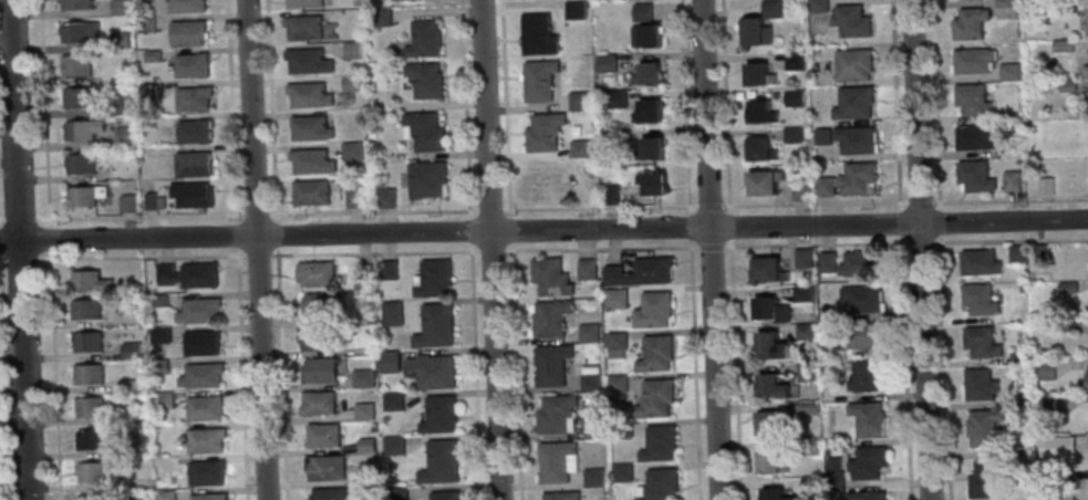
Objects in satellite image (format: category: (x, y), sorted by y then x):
building: (404, 0)
building: (302, 3)
building: (1001, 3)
building: (74, 4)
building: (186, 6)
building: (117, 7)
building: (818, 8)
building: (572, 10)
building: (771, 11)
building: (640, 12)
building: (379, 18)
building: (1086, 21)
building: (145, 23)
building: (851, 23)
building: (967, 23)
building: (305, 29)
building: (77, 31)
building: (186, 33)
building: (536, 35)
building: (644, 37)
building: (756, 38)
building: (120, 40)
building: (423, 40)
building: (1061, 46)
building: (351, 50)
building: (151, 55)
building: (307, 61)
building: (970, 61)
building: (794, 62)
building: (604, 63)
building: (76, 64)
building: (190, 65)
building: (854, 69)
building: (1007, 72)
building: (1085, 72)
building: (645, 74)
building: (759, 80)
building: (424, 81)
building: (537, 81)
building: (351, 83)
building: (1066, 85)
building: (147, 92)
building: (308, 95)
building: (76, 97)
building: (191, 98)
building: (615, 98)
building: (796, 100)
building: (971, 100)
building: (578, 101)
building: (120, 104)
road: (893, 104)
road: (933, 104)
road: (684, 106)
road: (725, 106)
building: (853, 107)
road: (229, 110)
road: (270, 110)
building: (645, 112)
building: (763, 117)
building: (309, 128)
building: (82, 129)
building: (422, 131)
building: (193, 132)
building: (542, 133)
building: (610, 136)
building: (123, 137)
building: (365, 137)
building: (796, 137)
building: (973, 137)
building: (823, 139)
building: (857, 143)
building: (579, 148)
building: (649, 149)
building: (351, 150)
building: (761, 156)
building: (310, 162)
building: (80, 164)
building: (191, 165)
building: (973, 176)
building: (425, 179)
building: (547, 179)
building: (1011, 181)
building: (650, 184)
building: (850, 185)
building: (584, 186)
building: (1045, 186)
building: (767, 189)
building: (309, 192)
building: (609, 194)
building: (801, 194)
building: (84, 195)
building: (191, 195)
building: (353, 197)
building: (385, 198)
road: (1009, 199)
building: (148, 200)
road: (919, 201)
road: (814, 202)
building: (126, 204)
road: (708, 205)
road: (483, 209)
road: (134, 216)
road: (937, 221)
road: (898, 222)
road: (688, 225)
road: (728, 225)
road: (543, 230)
road: (234, 233)
road: (276, 233)
road: (1009, 239)
road: (921, 242)
road: (815, 243)
road: (709, 246)
road: (18, 249)
road: (51, 249)
road: (255, 249)
road: (469, 249)
road: (489, 249)
road: (511, 249)
road: (709, 249)
road: (920, 249)
road: (484, 250)
building: (1040, 252)
building: (1017, 253)
road: (257, 254)
road: (121, 257)
building: (802, 258)
building: (827, 261)
building: (980, 261)
building: (860, 263)
building: (584, 270)
building: (768, 270)
building: (386, 271)
building: (639, 272)
building: (162, 274)
building: (200, 274)
building: (314, 274)
building: (548, 278)
building: (360, 279)
building: (435, 279)
building: (87, 282)
building: (1067, 287)
building: (801, 294)
building: (615, 299)
building: (862, 299)
building: (980, 299)
building: (156, 300)
building: (318, 306)
building: (766, 306)
building: (201, 309)
building: (653, 310)
building: (85, 311)
building: (390, 313)
building: (549, 319)
building: (1067, 325)
building: (436, 326)
building: (805, 331)
building: (587, 333)
building: (158, 334)
building: (863, 335)
building: (315, 337)
building: (616, 341)
building: (981, 341)
building: (87, 342)
building: (203, 342)
building: (770, 344)
building: (131, 351)
building: (615, 353)
building: (655, 353)
building: (1017, 357)
building: (390, 363)
building: (551, 364)
building: (158, 366)
road: (903, 366)
road: (943, 366)
road: (695, 368)
road: (734, 368)
building: (590, 369)
building: (1047, 369)
building: (318, 371)
building: (433, 371)
building: (805, 371)
road: (240, 373)
building: (89, 374)
building: (205, 374)
road: (281, 374)
building: (866, 374)
building: (361, 378)
building: (1087, 381)
building: (590, 382)
building: (618, 382)
building: (771, 384)
building: (980, 384)
building: (125, 385)
building: (655, 398)
building: (160, 399)
building: (1019, 402)
building: (391, 403)
building: (315, 404)
building: (1046, 405)
building: (90, 406)
building: (806, 406)
building: (206, 407)
building: (362, 412)
building: (441, 414)
building: (557, 414)
building: (868, 418)
building: (770, 423)
building: (984, 426)
building: (622, 428)
building: (592, 429)
building: (321, 436)
building: (91, 438)
building: (207, 439)
building: (660, 442)
building: (393, 445)
building: (364, 446)
building: (1054, 446)
building: (808, 447)
building: (121, 452)
building: (830, 452)
building: (557, 460)
building: (770, 461)
building: (868, 461)
building: (442, 462)
building: (833, 465)
building: (323, 468)
building: (622, 471)
building: (92, 472)
building: (209, 472)
building: (369, 476)
building: (987, 477)
building: (594, 478)
building: (836, 480)
building: (1069, 480)
building: (122, 482)
building: (660, 485)
building: (810, 485)
building: (396, 493)
building: (165, 494)
building: (327, 494)
building: (446, 494)
building: (776, 494)
building: (1024, 494)
building: (210, 496)
building: (561, 496)
building: (866, 496)
building: (99, 497)
building: (887, 499)

